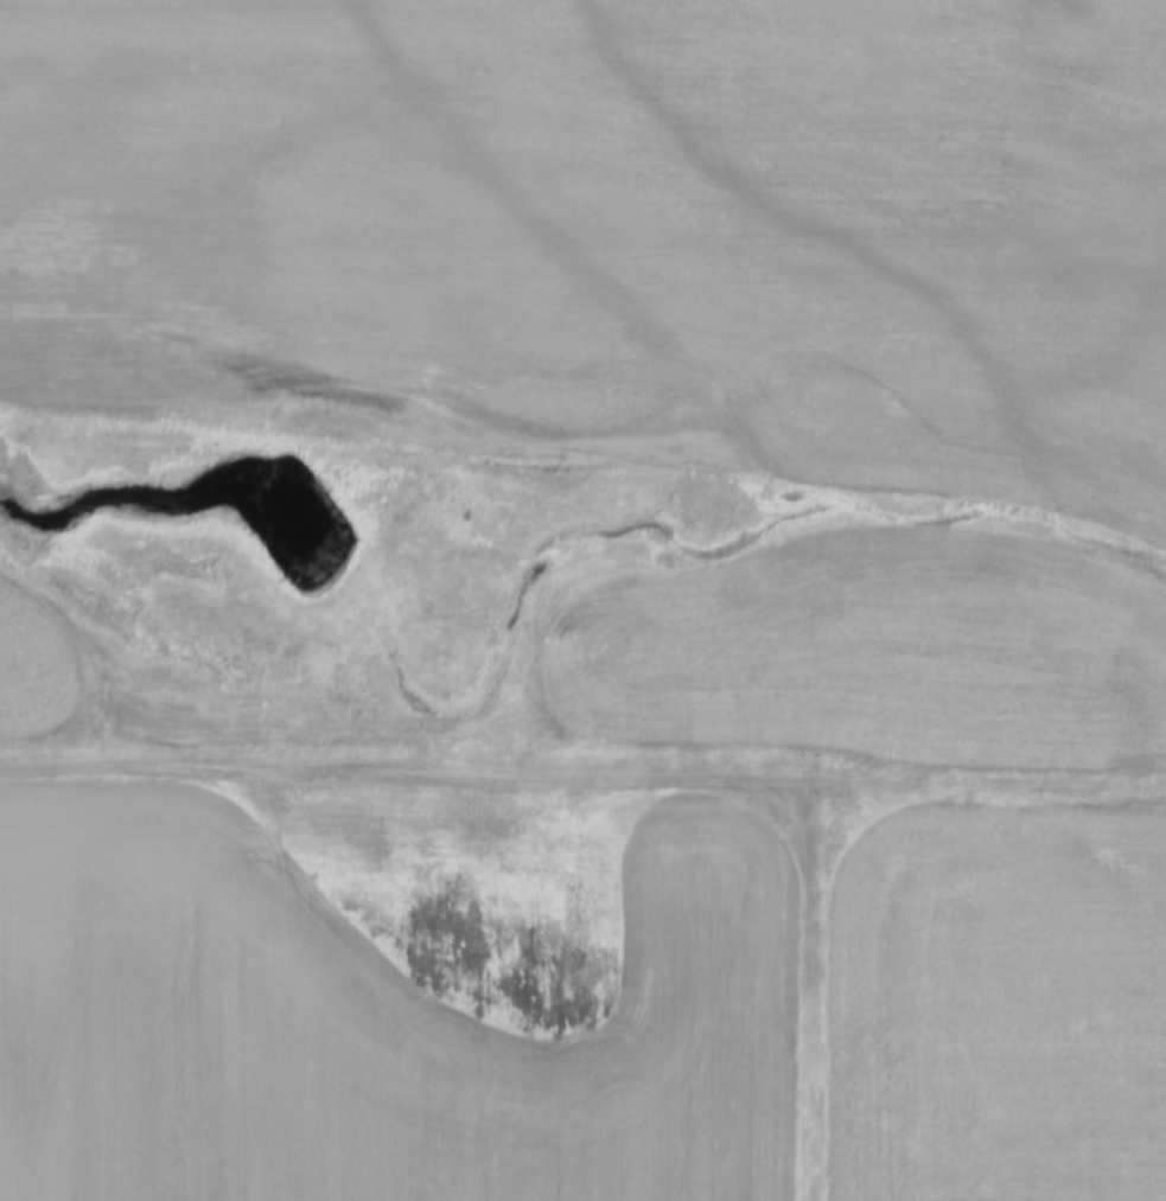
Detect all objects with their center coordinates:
road: (582, 787)
road: (798, 995)

